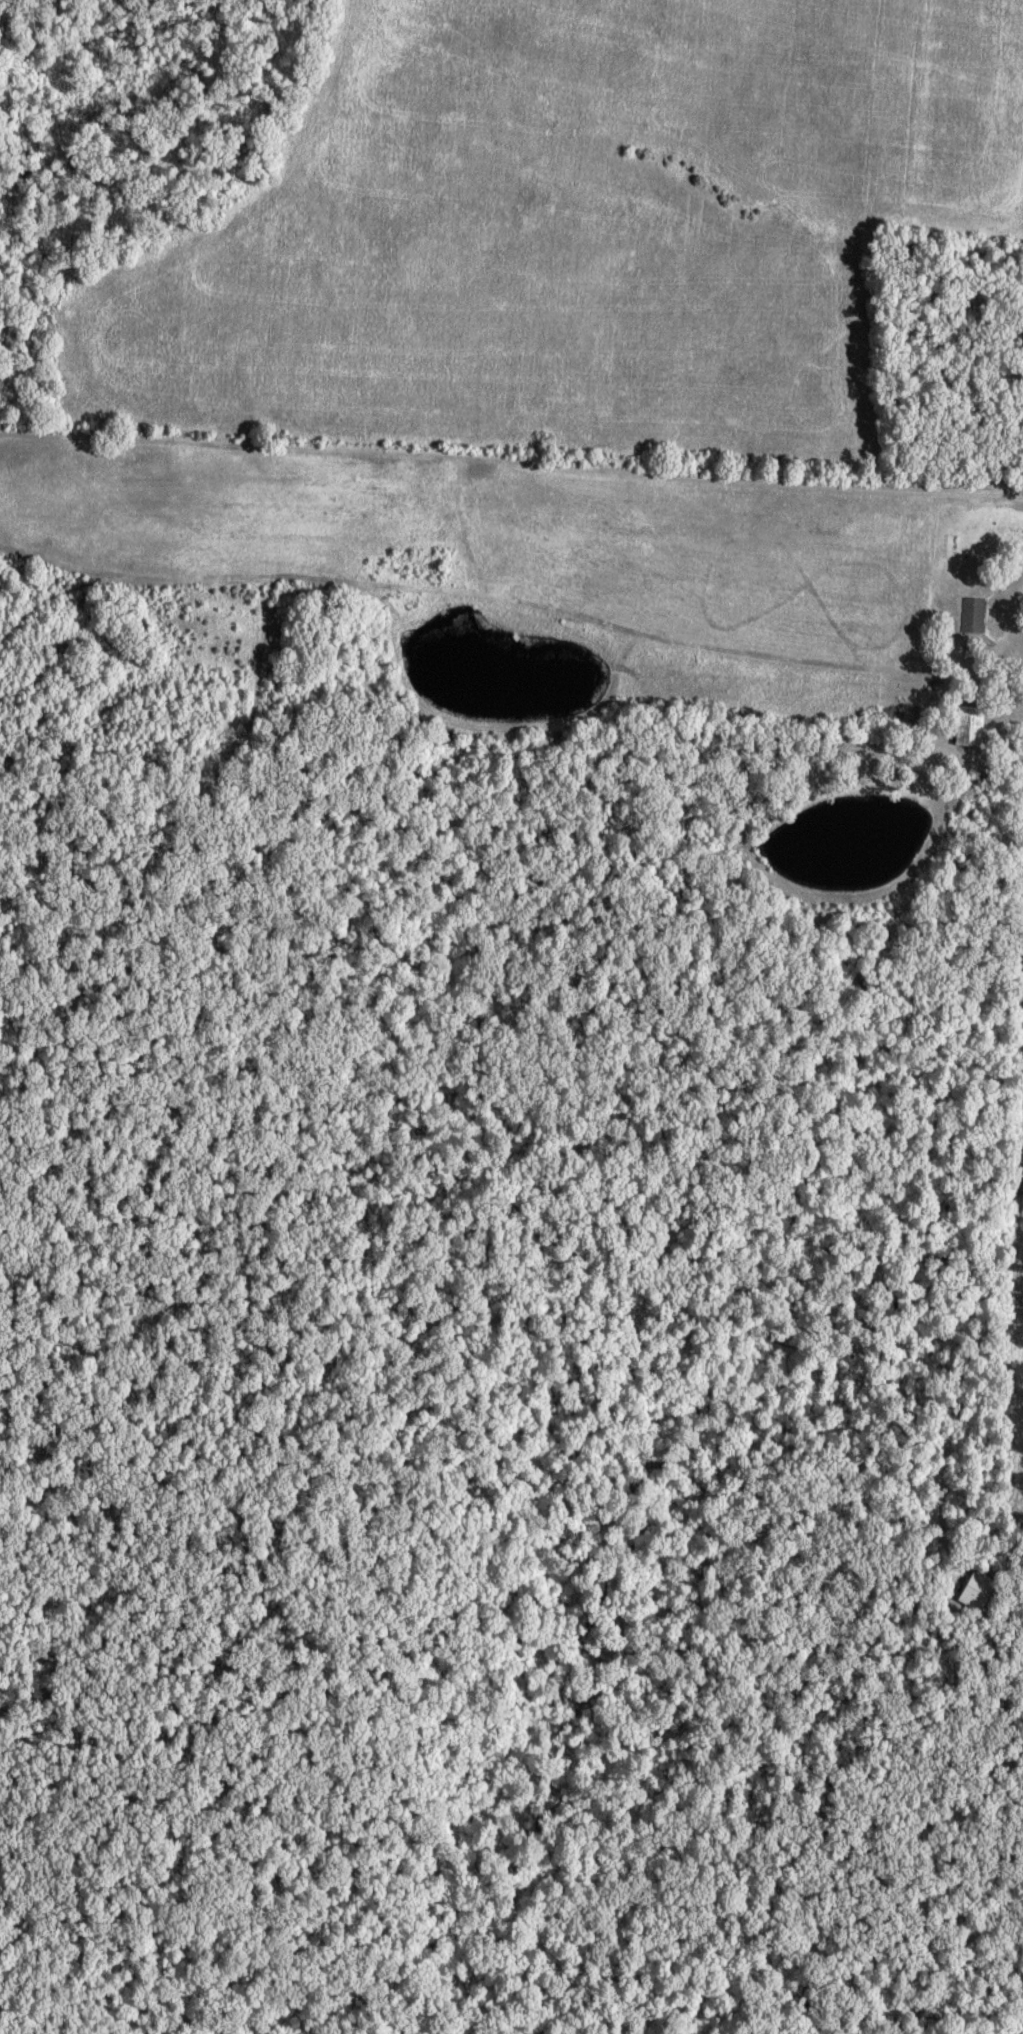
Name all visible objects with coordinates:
building: (975, 615)
road: (1006, 653)
building: (974, 726)
road: (1021, 1300)
road: (1009, 1548)
building: (982, 1591)
building: (1022, 1634)

